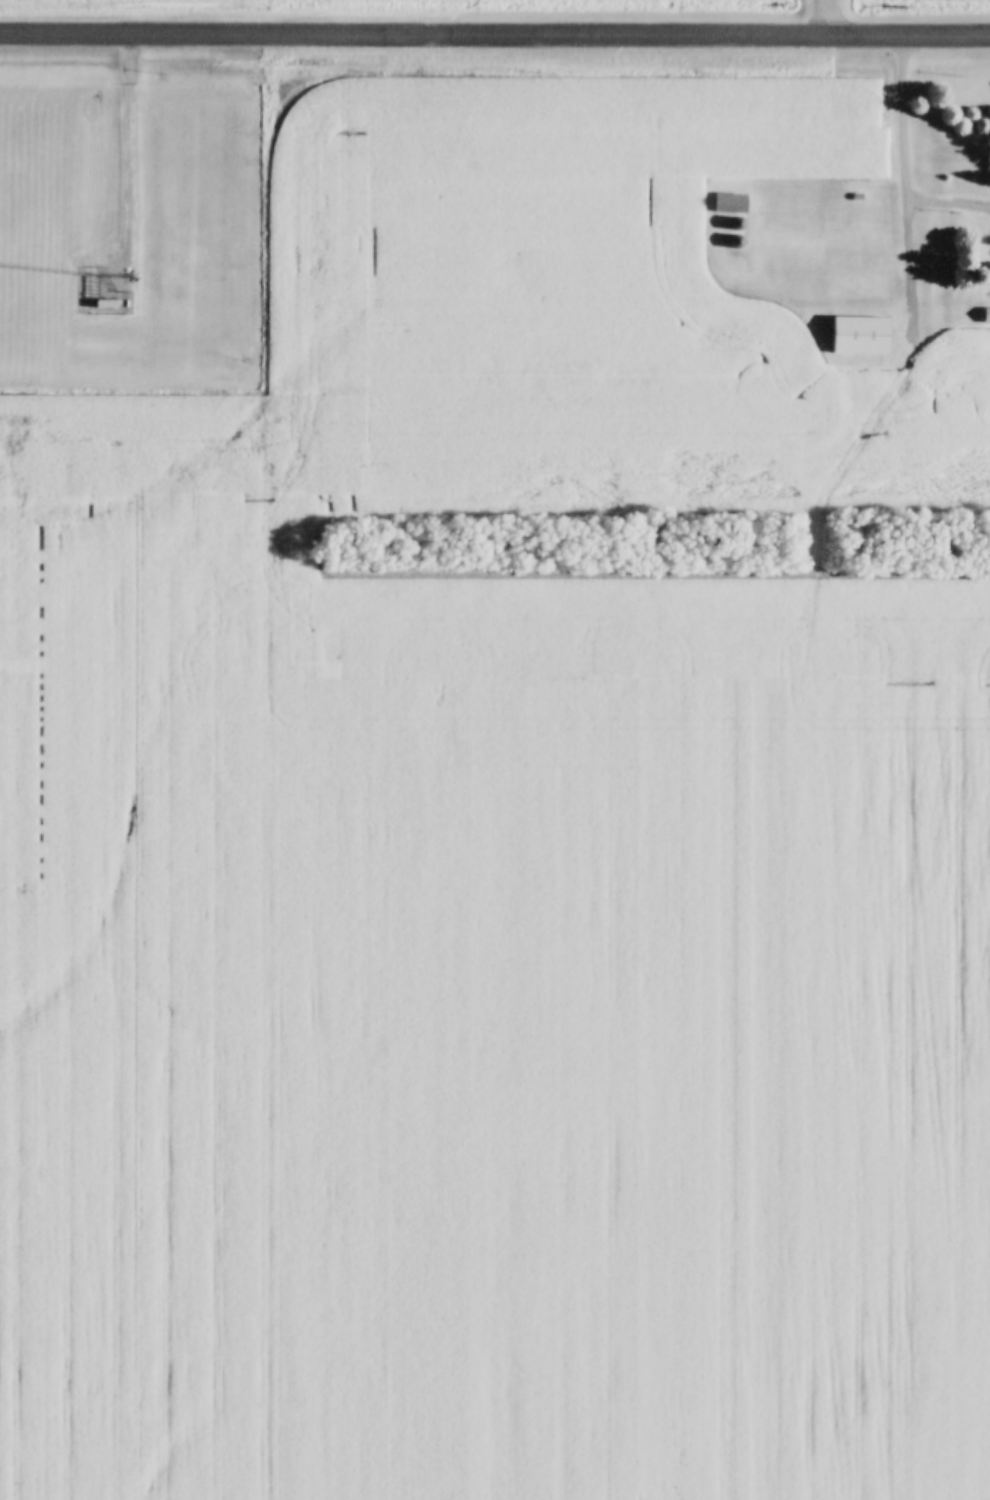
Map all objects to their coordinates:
road: (494, 33)
road: (903, 153)
road: (123, 160)
building: (852, 198)
building: (724, 204)
building: (733, 225)
silo: (733, 225)
building: (732, 243)
silo: (732, 243)
building: (99, 304)
building: (853, 336)

